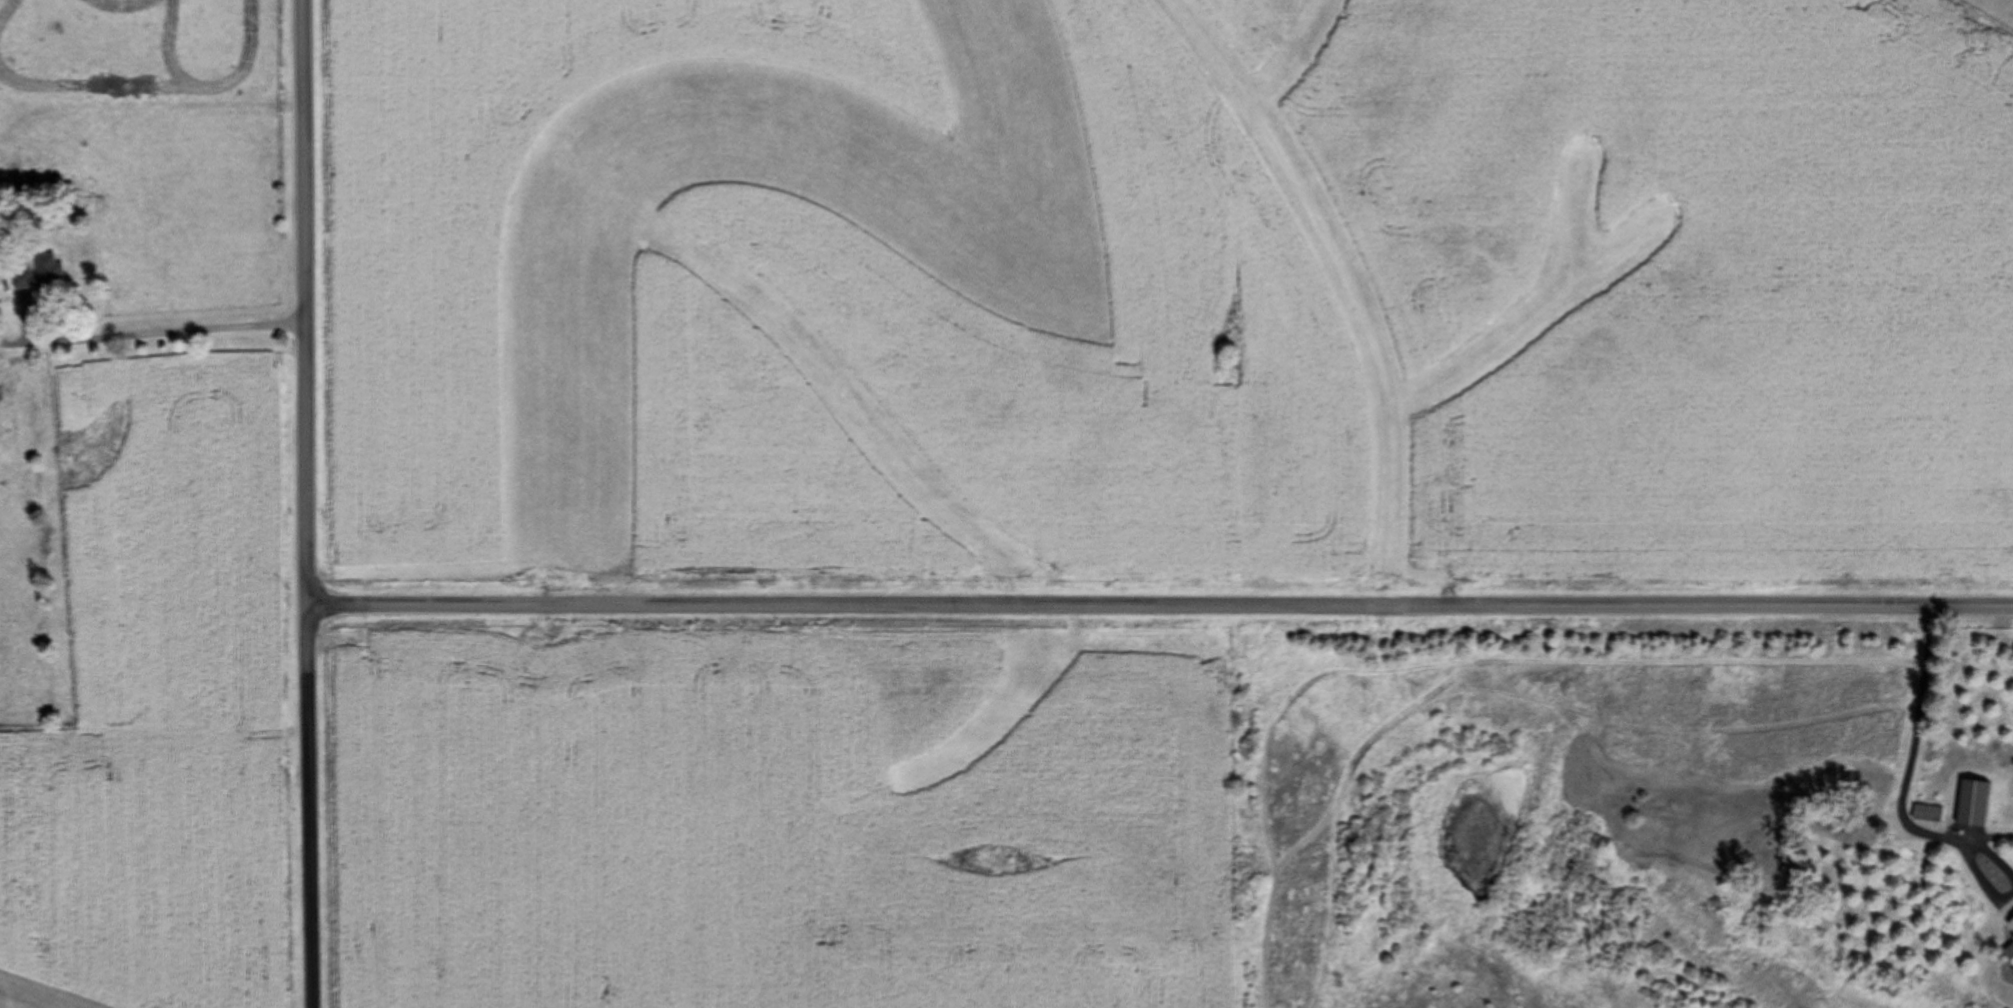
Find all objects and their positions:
building: (39, 276)
road: (299, 304)
road: (163, 333)
road: (1158, 606)
road: (1906, 769)
building: (1867, 783)
building: (1974, 804)
road: (307, 808)
building: (1927, 815)
building: (2011, 925)
building: (2009, 952)

